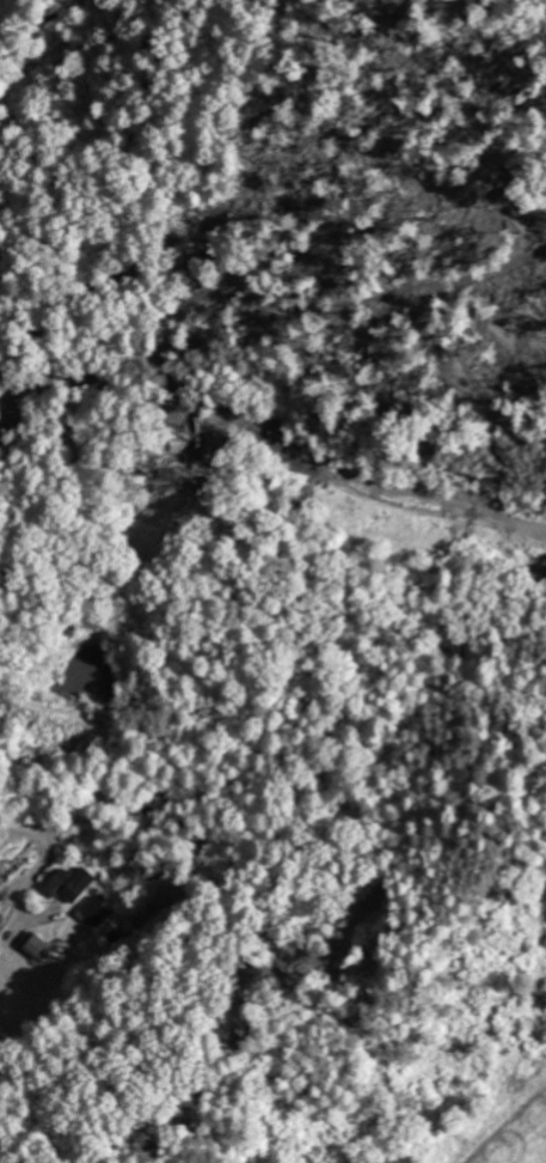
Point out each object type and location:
road: (42, 838)
building: (70, 885)
building: (92, 915)
building: (36, 948)

